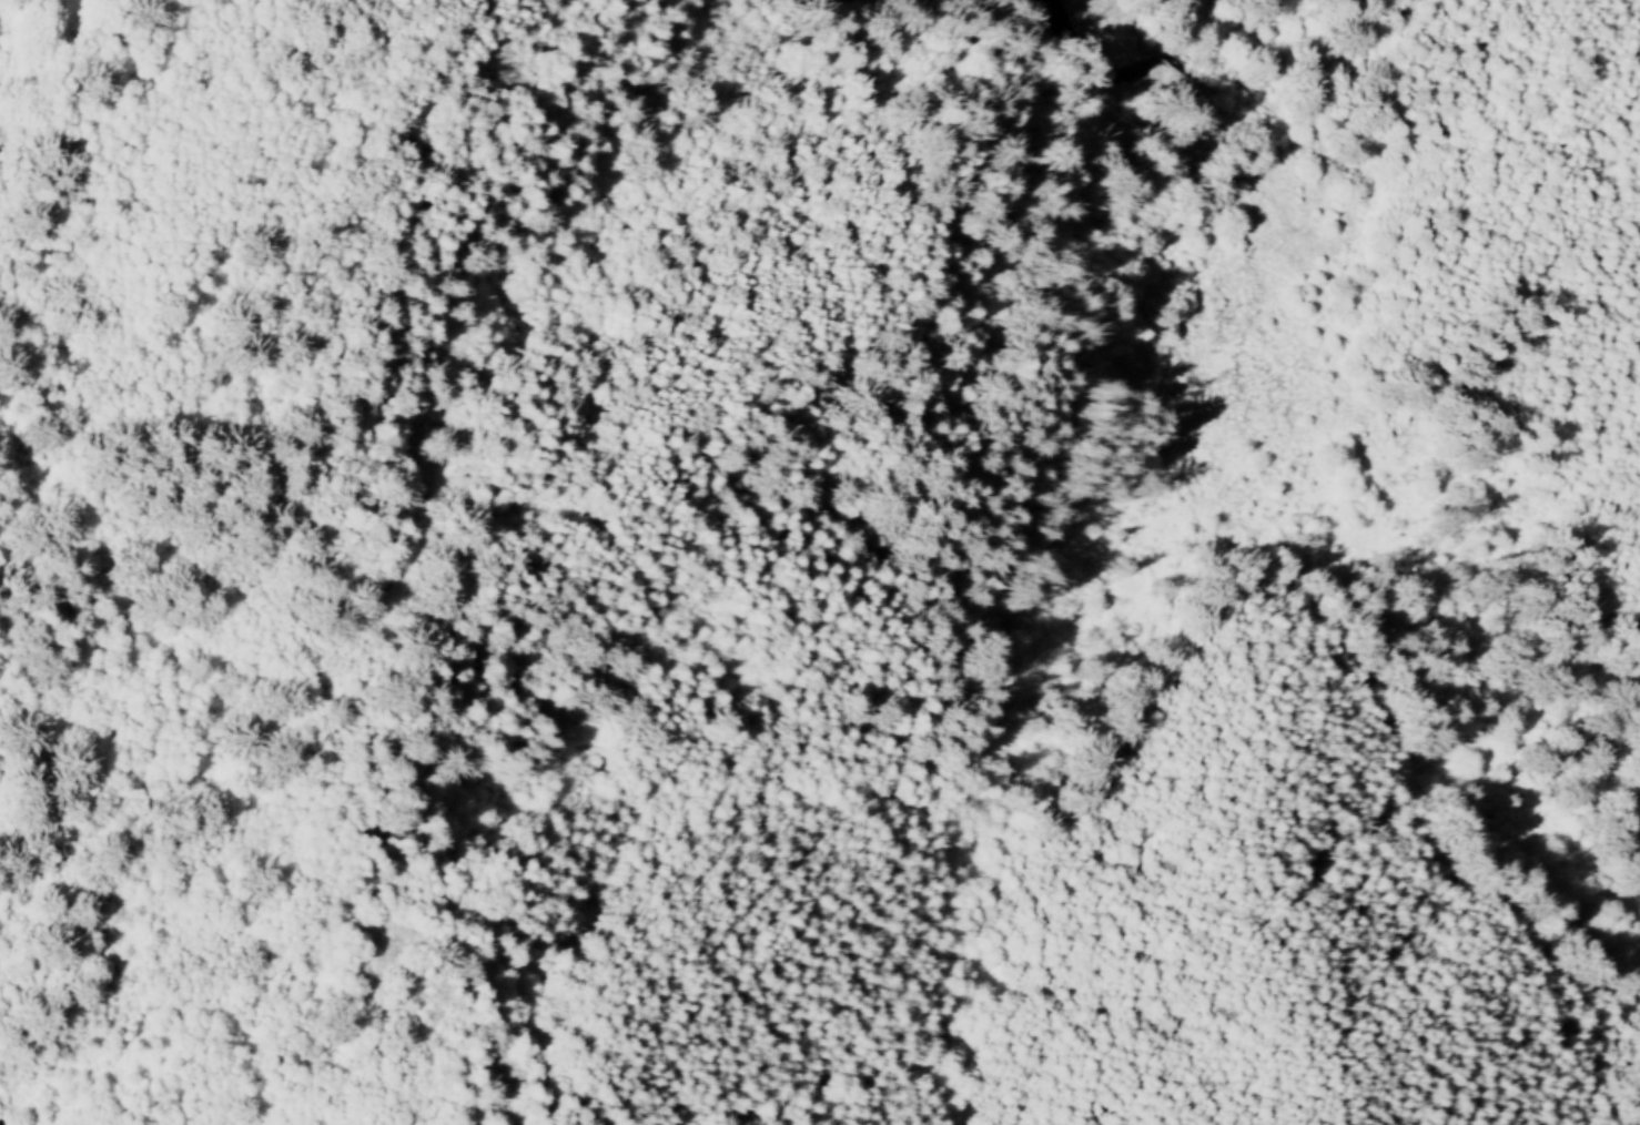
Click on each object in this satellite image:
road: (40, 995)

